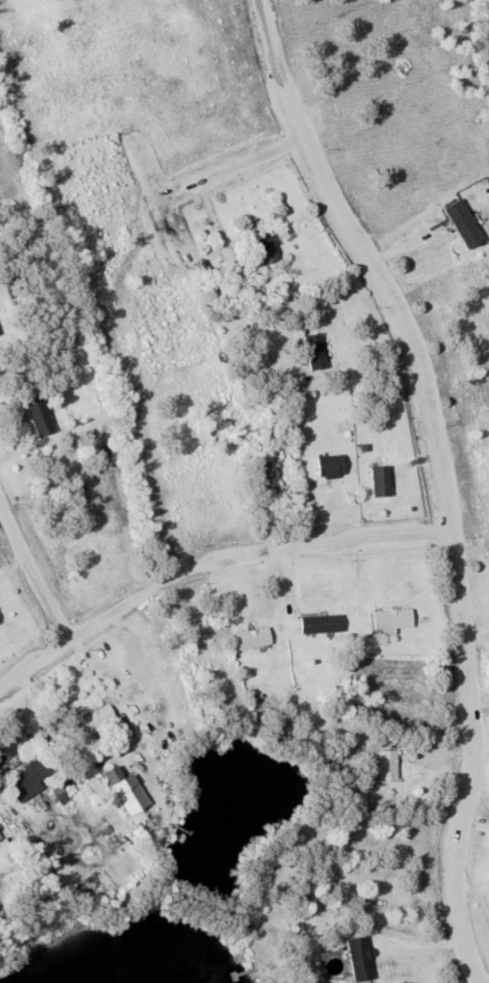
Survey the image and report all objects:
road: (236, 168)
building: (459, 227)
building: (266, 248)
building: (0, 332)
building: (315, 351)
building: (38, 415)
building: (330, 467)
road: (437, 476)
building: (380, 481)
road: (207, 557)
road: (26, 580)
building: (392, 619)
building: (320, 624)
building: (253, 639)
building: (98, 719)
building: (387, 767)
building: (31, 777)
building: (126, 790)
road: (416, 939)
building: (358, 959)

